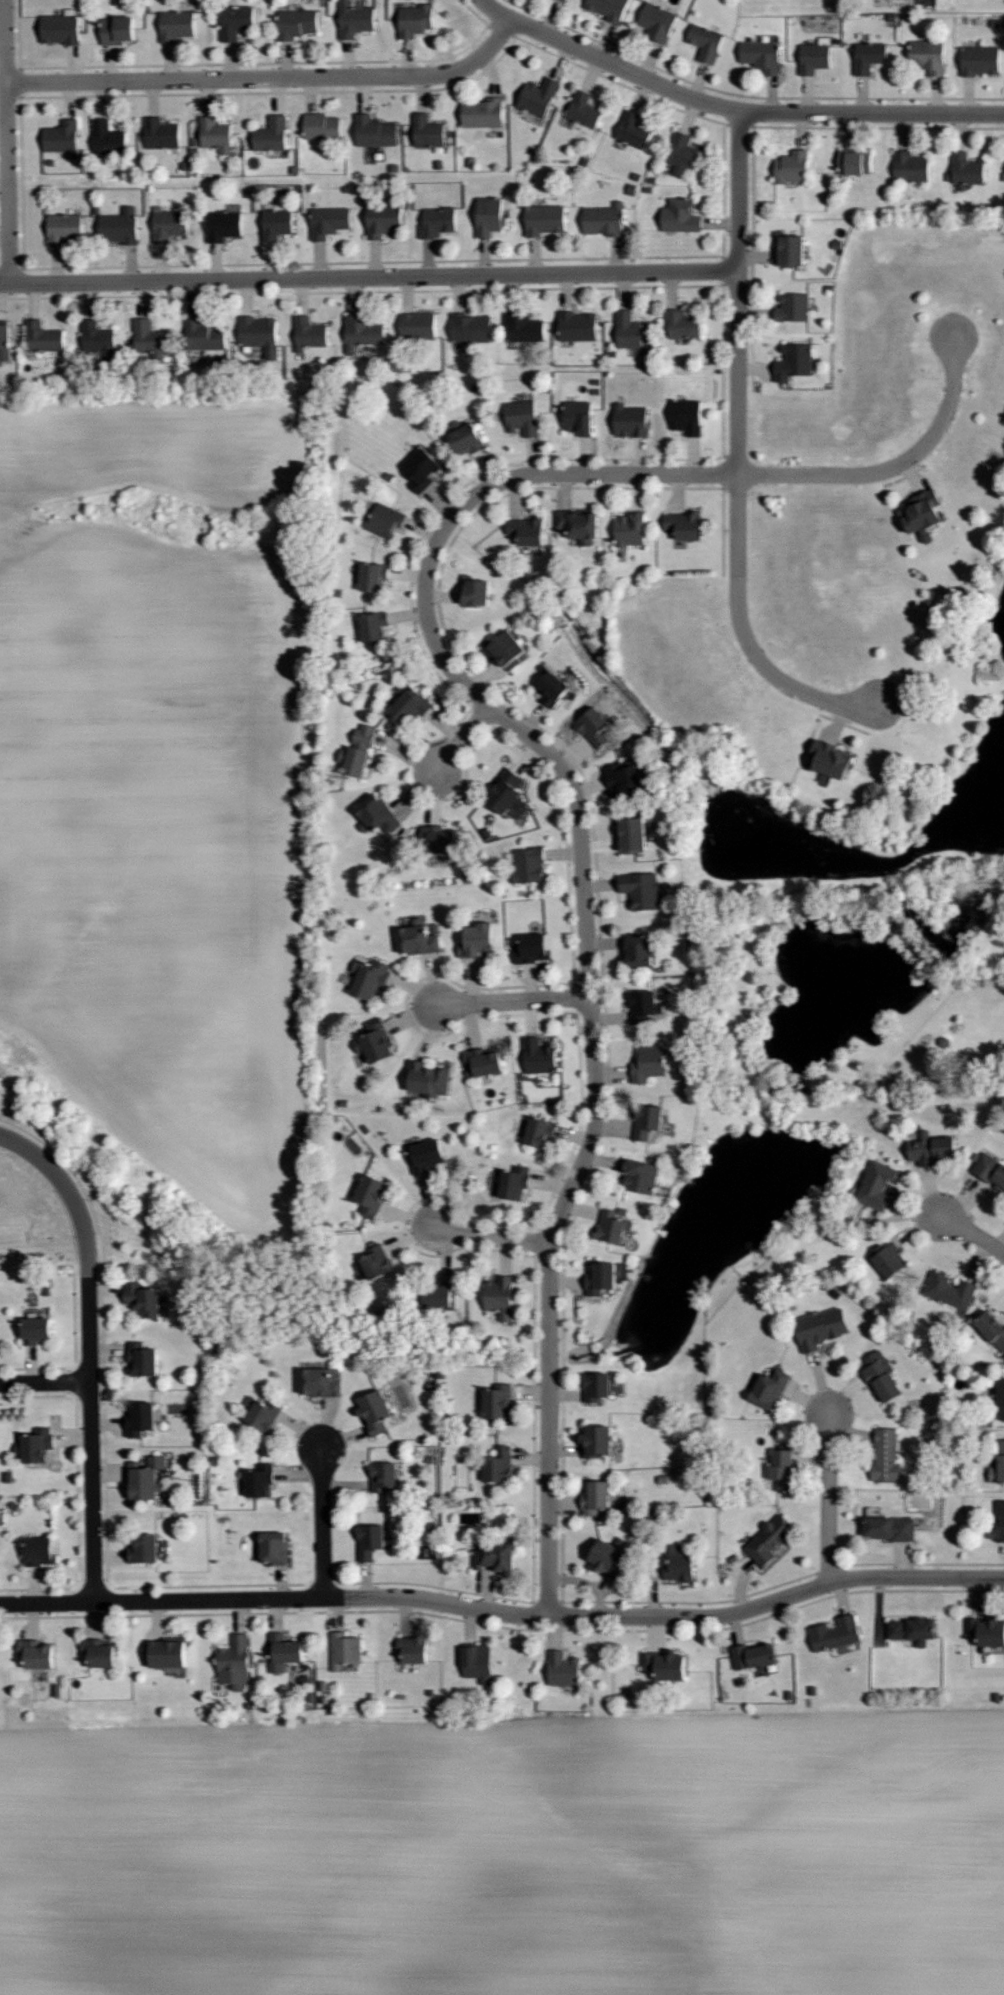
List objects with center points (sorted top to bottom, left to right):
building: (566, 0)
building: (608, 8)
building: (355, 19)
building: (415, 20)
building: (236, 21)
building: (658, 22)
building: (298, 23)
building: (177, 25)
building: (61, 29)
building: (118, 30)
building: (706, 42)
building: (762, 55)
building: (870, 56)
building: (931, 56)
building: (815, 58)
building: (981, 60)
road: (269, 79)
building: (540, 96)
road: (730, 109)
building: (585, 110)
building: (484, 113)
building: (323, 126)
building: (634, 130)
building: (428, 131)
building: (376, 132)
building: (162, 134)
building: (216, 135)
building: (272, 135)
building: (63, 138)
building: (108, 138)
road: (8, 142)
building: (684, 154)
building: (857, 162)
building: (911, 166)
building: (794, 167)
building: (968, 169)
building: (490, 216)
building: (682, 216)
building: (546, 219)
building: (384, 220)
building: (606, 220)
building: (330, 221)
building: (438, 222)
building: (277, 224)
building: (169, 225)
building: (224, 225)
building: (120, 226)
building: (65, 228)
building: (790, 250)
road: (369, 278)
building: (794, 308)
building: (683, 325)
building: (419, 326)
building: (579, 326)
building: (523, 327)
building: (472, 328)
building: (629, 331)
building: (363, 333)
building: (310, 334)
building: (261, 335)
building: (204, 336)
building: (44, 337)
building: (150, 339)
building: (99, 340)
building: (5, 342)
building: (795, 362)
building: (580, 417)
building: (687, 417)
building: (523, 418)
building: (631, 421)
building: (470, 439)
road: (739, 458)
building: (423, 464)
building: (924, 515)
building: (385, 520)
road: (137, 522)
building: (579, 525)
building: (684, 525)
building: (632, 530)
building: (528, 531)
building: (375, 577)
building: (479, 594)
building: (376, 627)
building: (505, 649)
road: (79, 679)
building: (550, 684)
building: (415, 706)
building: (601, 725)
road: (465, 738)
road: (538, 745)
building: (365, 749)
building: (833, 759)
building: (630, 777)
building: (508, 789)
building: (380, 817)
building: (631, 834)
building: (439, 838)
building: (528, 864)
building: (641, 889)
building: (417, 939)
building: (478, 940)
building: (531, 948)
building: (638, 950)
building: (369, 976)
road: (514, 1002)
building: (641, 1005)
building: (375, 1041)
building: (538, 1056)
building: (484, 1061)
building: (648, 1063)
building: (428, 1079)
building: (647, 1121)
building: (540, 1132)
building: (930, 1148)
building: (427, 1151)
road: (33, 1153)
building: (990, 1168)
building: (421, 1169)
building: (640, 1176)
building: (514, 1182)
building: (878, 1184)
building: (371, 1195)
building: (610, 1225)
road: (973, 1234)
road: (493, 1236)
building: (889, 1258)
building: (378, 1263)
building: (601, 1277)
building: (950, 1290)
building: (439, 1294)
building: (500, 1297)
building: (143, 1299)
building: (821, 1328)
building: (37, 1329)
building: (992, 1329)
building: (142, 1359)
building: (881, 1375)
building: (321, 1382)
road: (45, 1384)
building: (597, 1386)
road: (90, 1389)
building: (770, 1389)
building: (1000, 1399)
building: (498, 1402)
building: (375, 1412)
building: (263, 1415)
building: (141, 1419)
building: (598, 1441)
building: (37, 1445)
building: (886, 1456)
building: (499, 1465)
building: (998, 1465)
building: (783, 1469)
building: (383, 1476)
building: (145, 1477)
building: (259, 1481)
building: (595, 1497)
road: (829, 1499)
road: (323, 1524)
building: (998, 1527)
building: (890, 1528)
building: (769, 1540)
building: (369, 1541)
building: (274, 1548)
building: (144, 1549)
building: (40, 1551)
building: (606, 1556)
building: (680, 1567)
road: (503, 1614)
building: (911, 1629)
building: (987, 1630)
building: (835, 1634)
building: (413, 1649)
building: (344, 1650)
building: (100, 1651)
building: (283, 1651)
building: (165, 1652)
building: (36, 1654)
building: (754, 1655)
building: (234, 1660)
building: (477, 1662)
building: (665, 1664)
building: (563, 1668)

